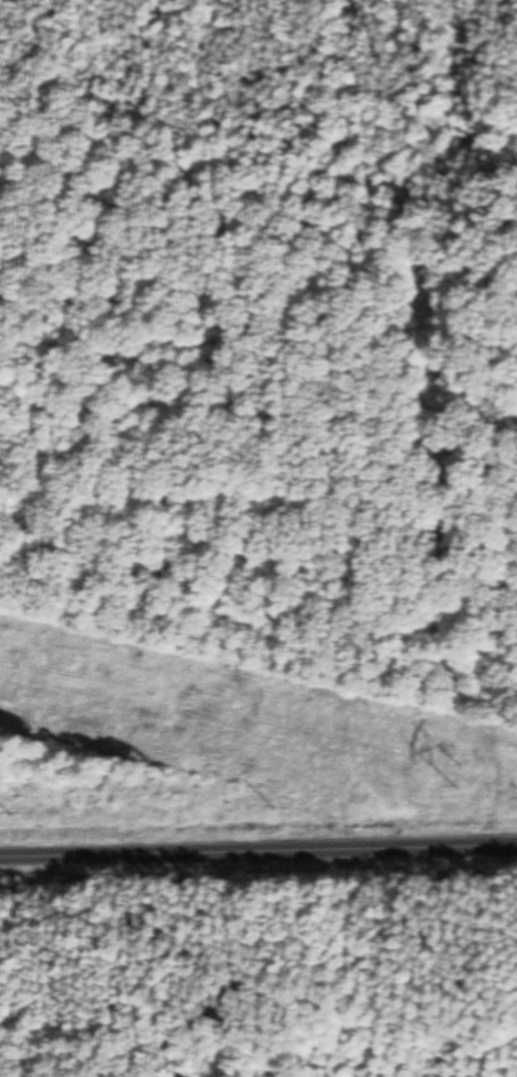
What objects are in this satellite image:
power tower: (460, 776)
road: (258, 856)

